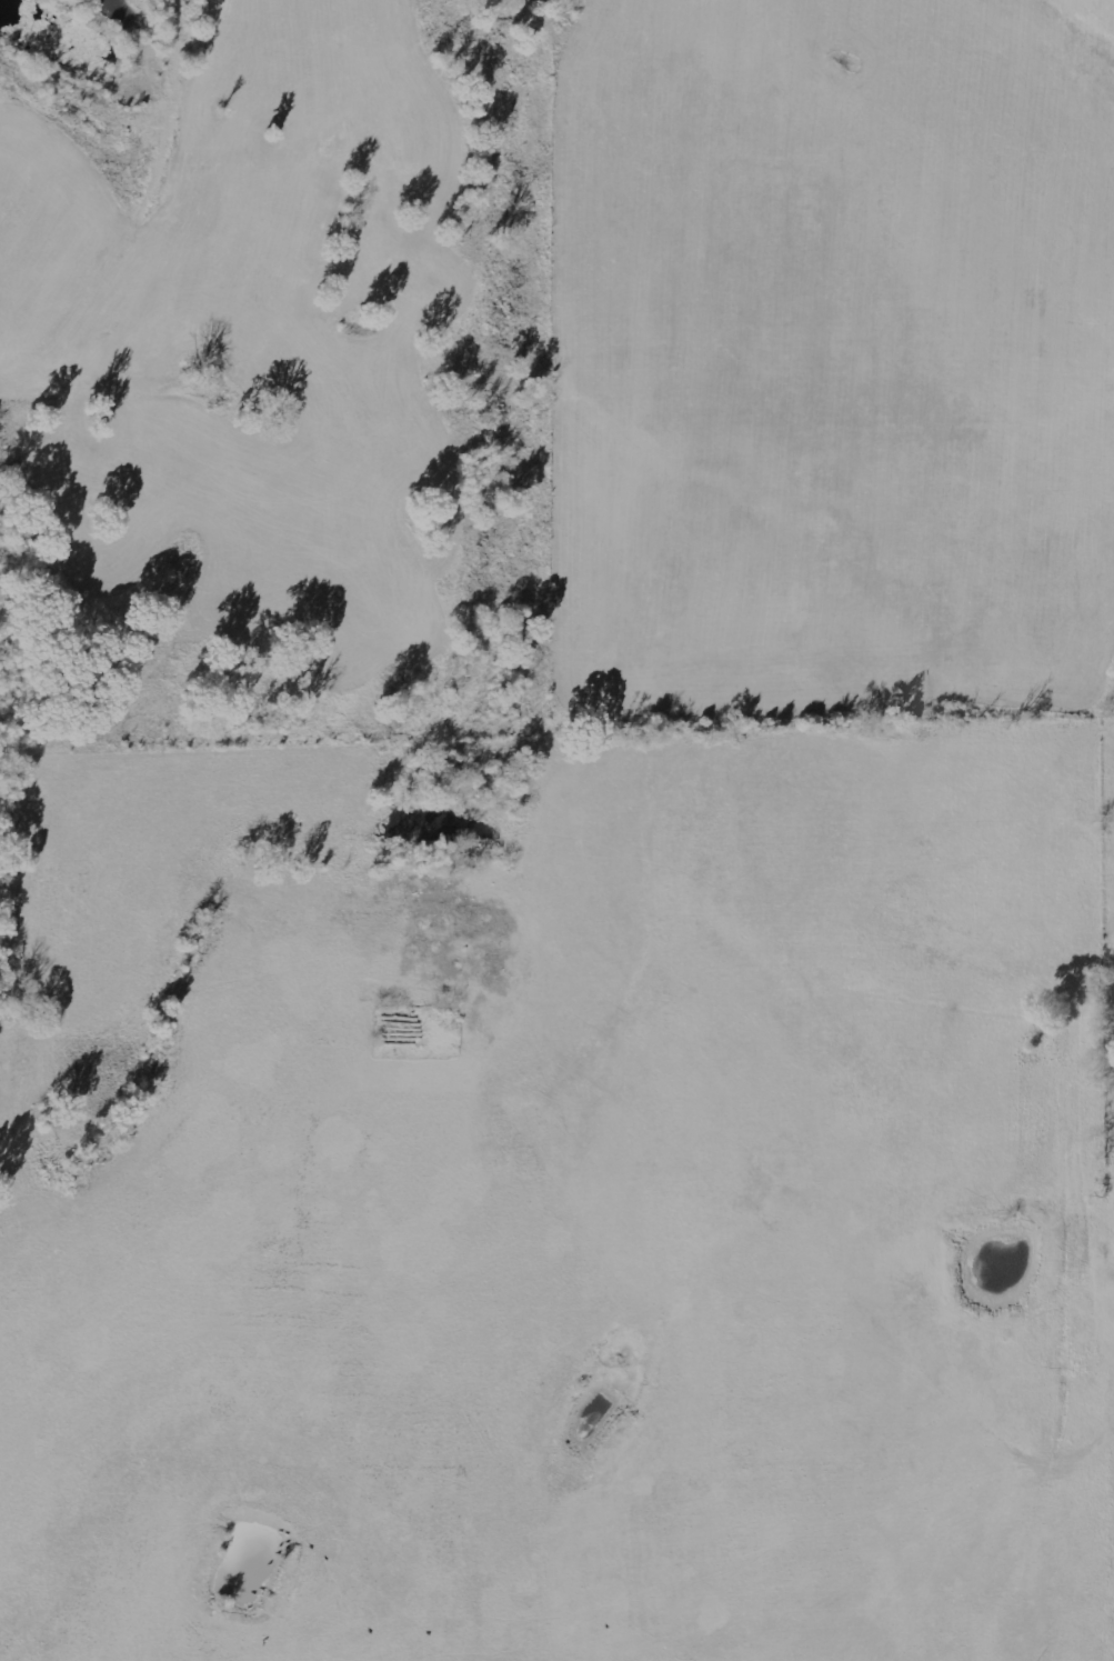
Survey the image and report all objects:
road: (897, 1225)

